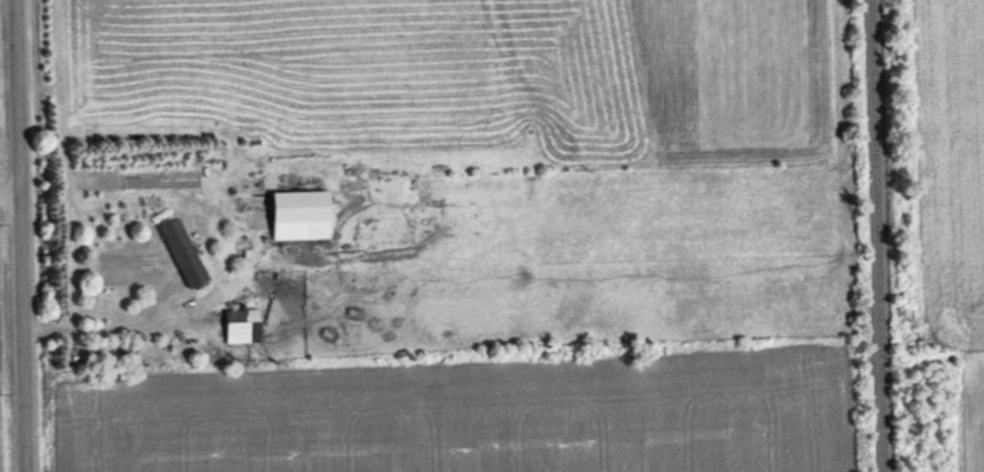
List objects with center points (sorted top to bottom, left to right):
building: (300, 213)
road: (15, 236)
railway: (878, 236)
building: (183, 251)
building: (242, 324)

